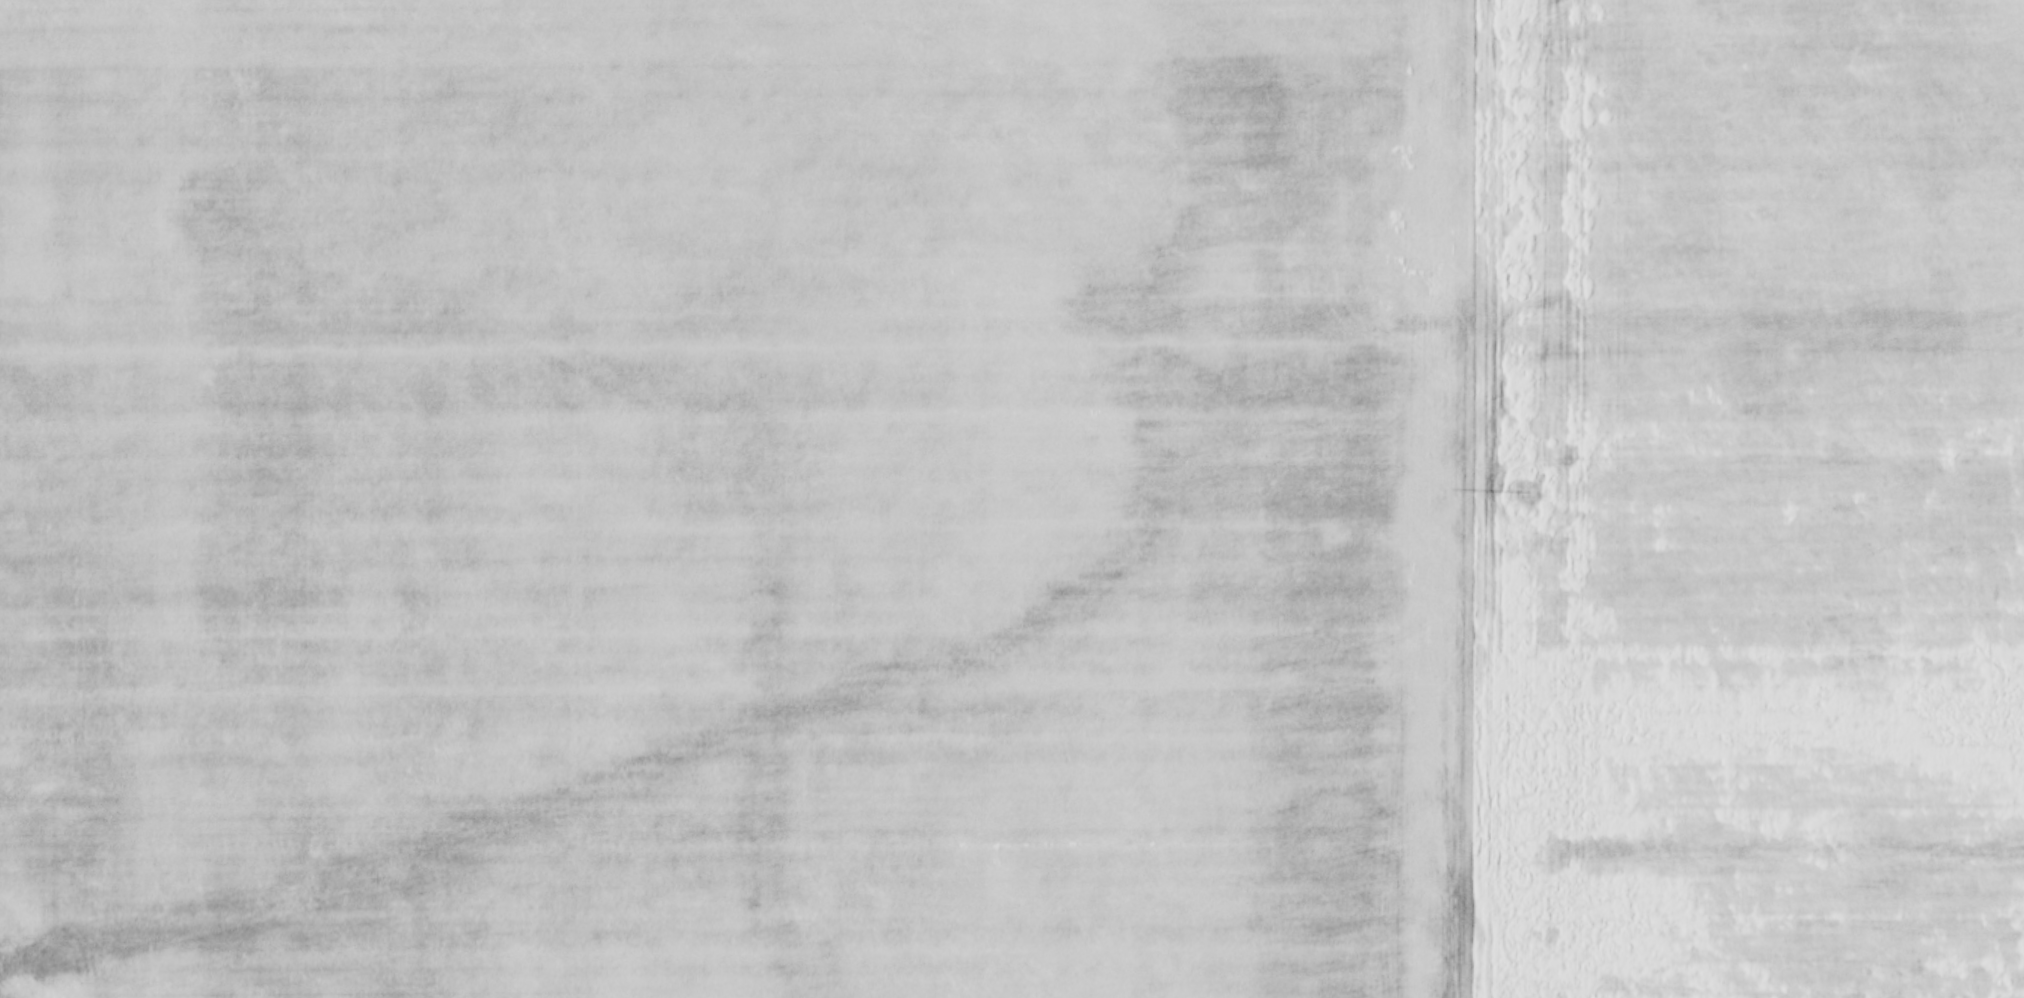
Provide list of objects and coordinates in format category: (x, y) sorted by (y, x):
power tower: (1517, 488)

